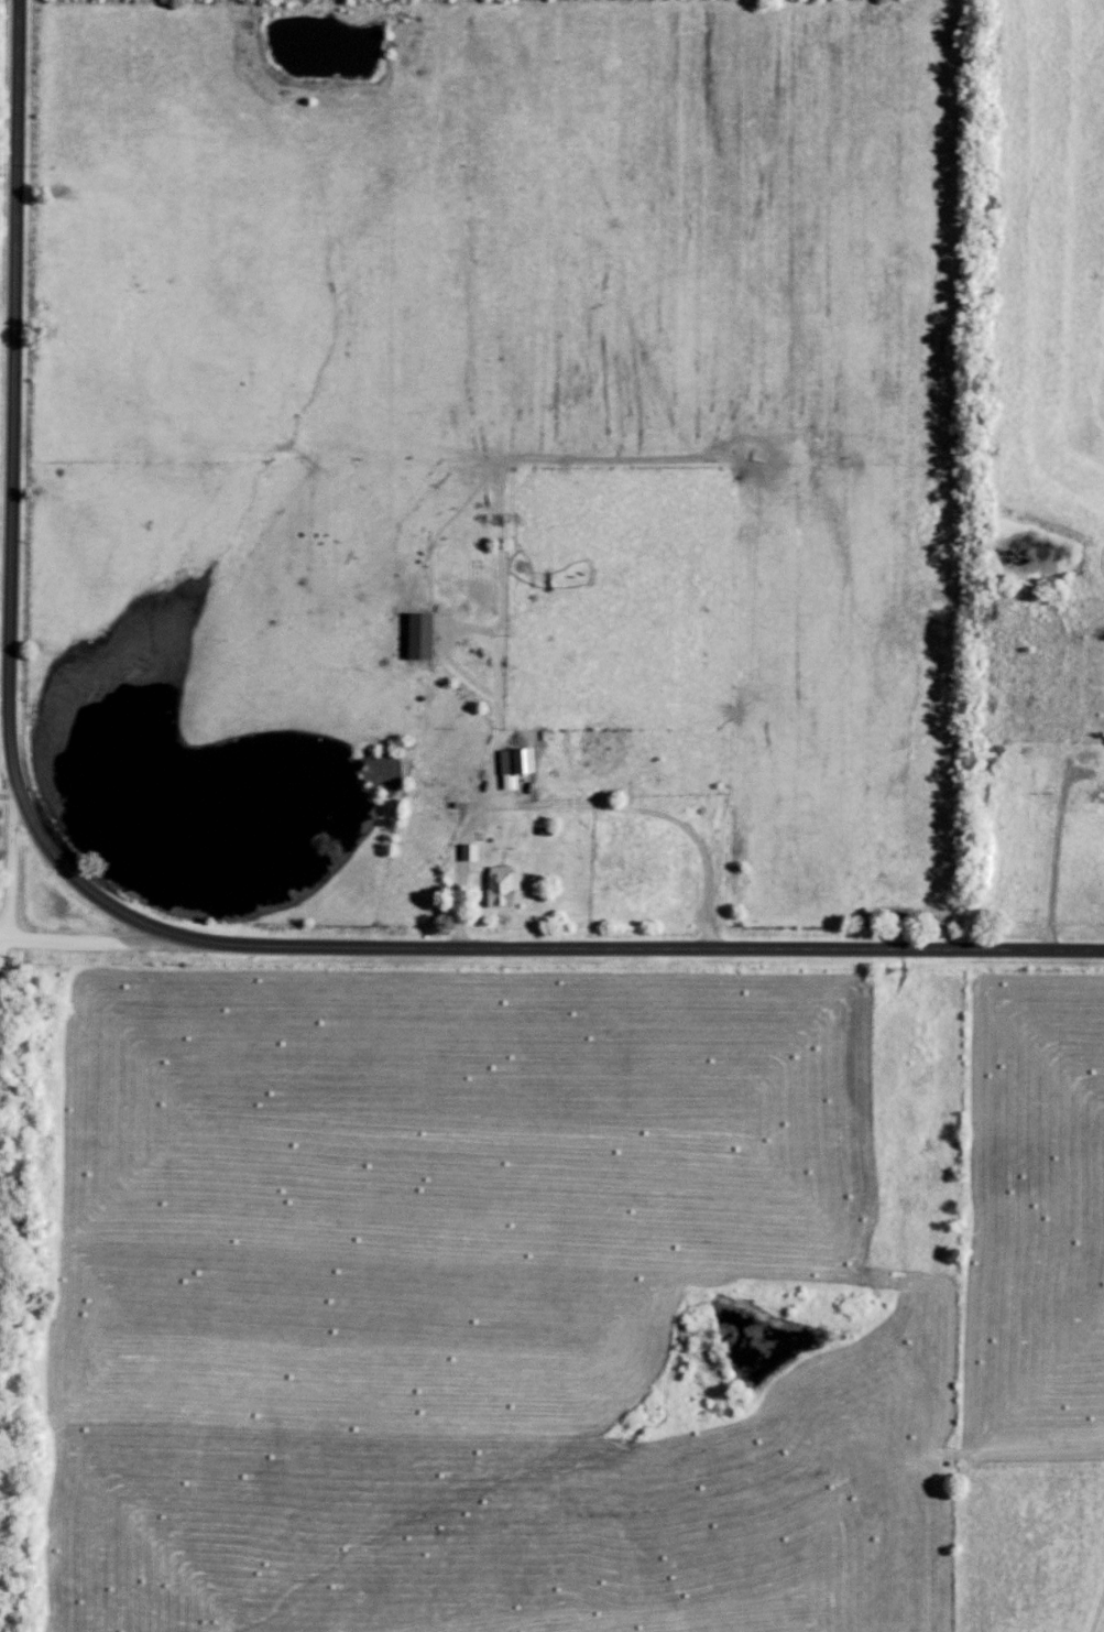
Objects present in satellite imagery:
building: (426, 633)
building: (520, 763)
road: (458, 845)
road: (1059, 845)
building: (474, 850)
road: (12, 864)
building: (506, 883)
road: (136, 920)
road: (4, 942)
road: (119, 942)

